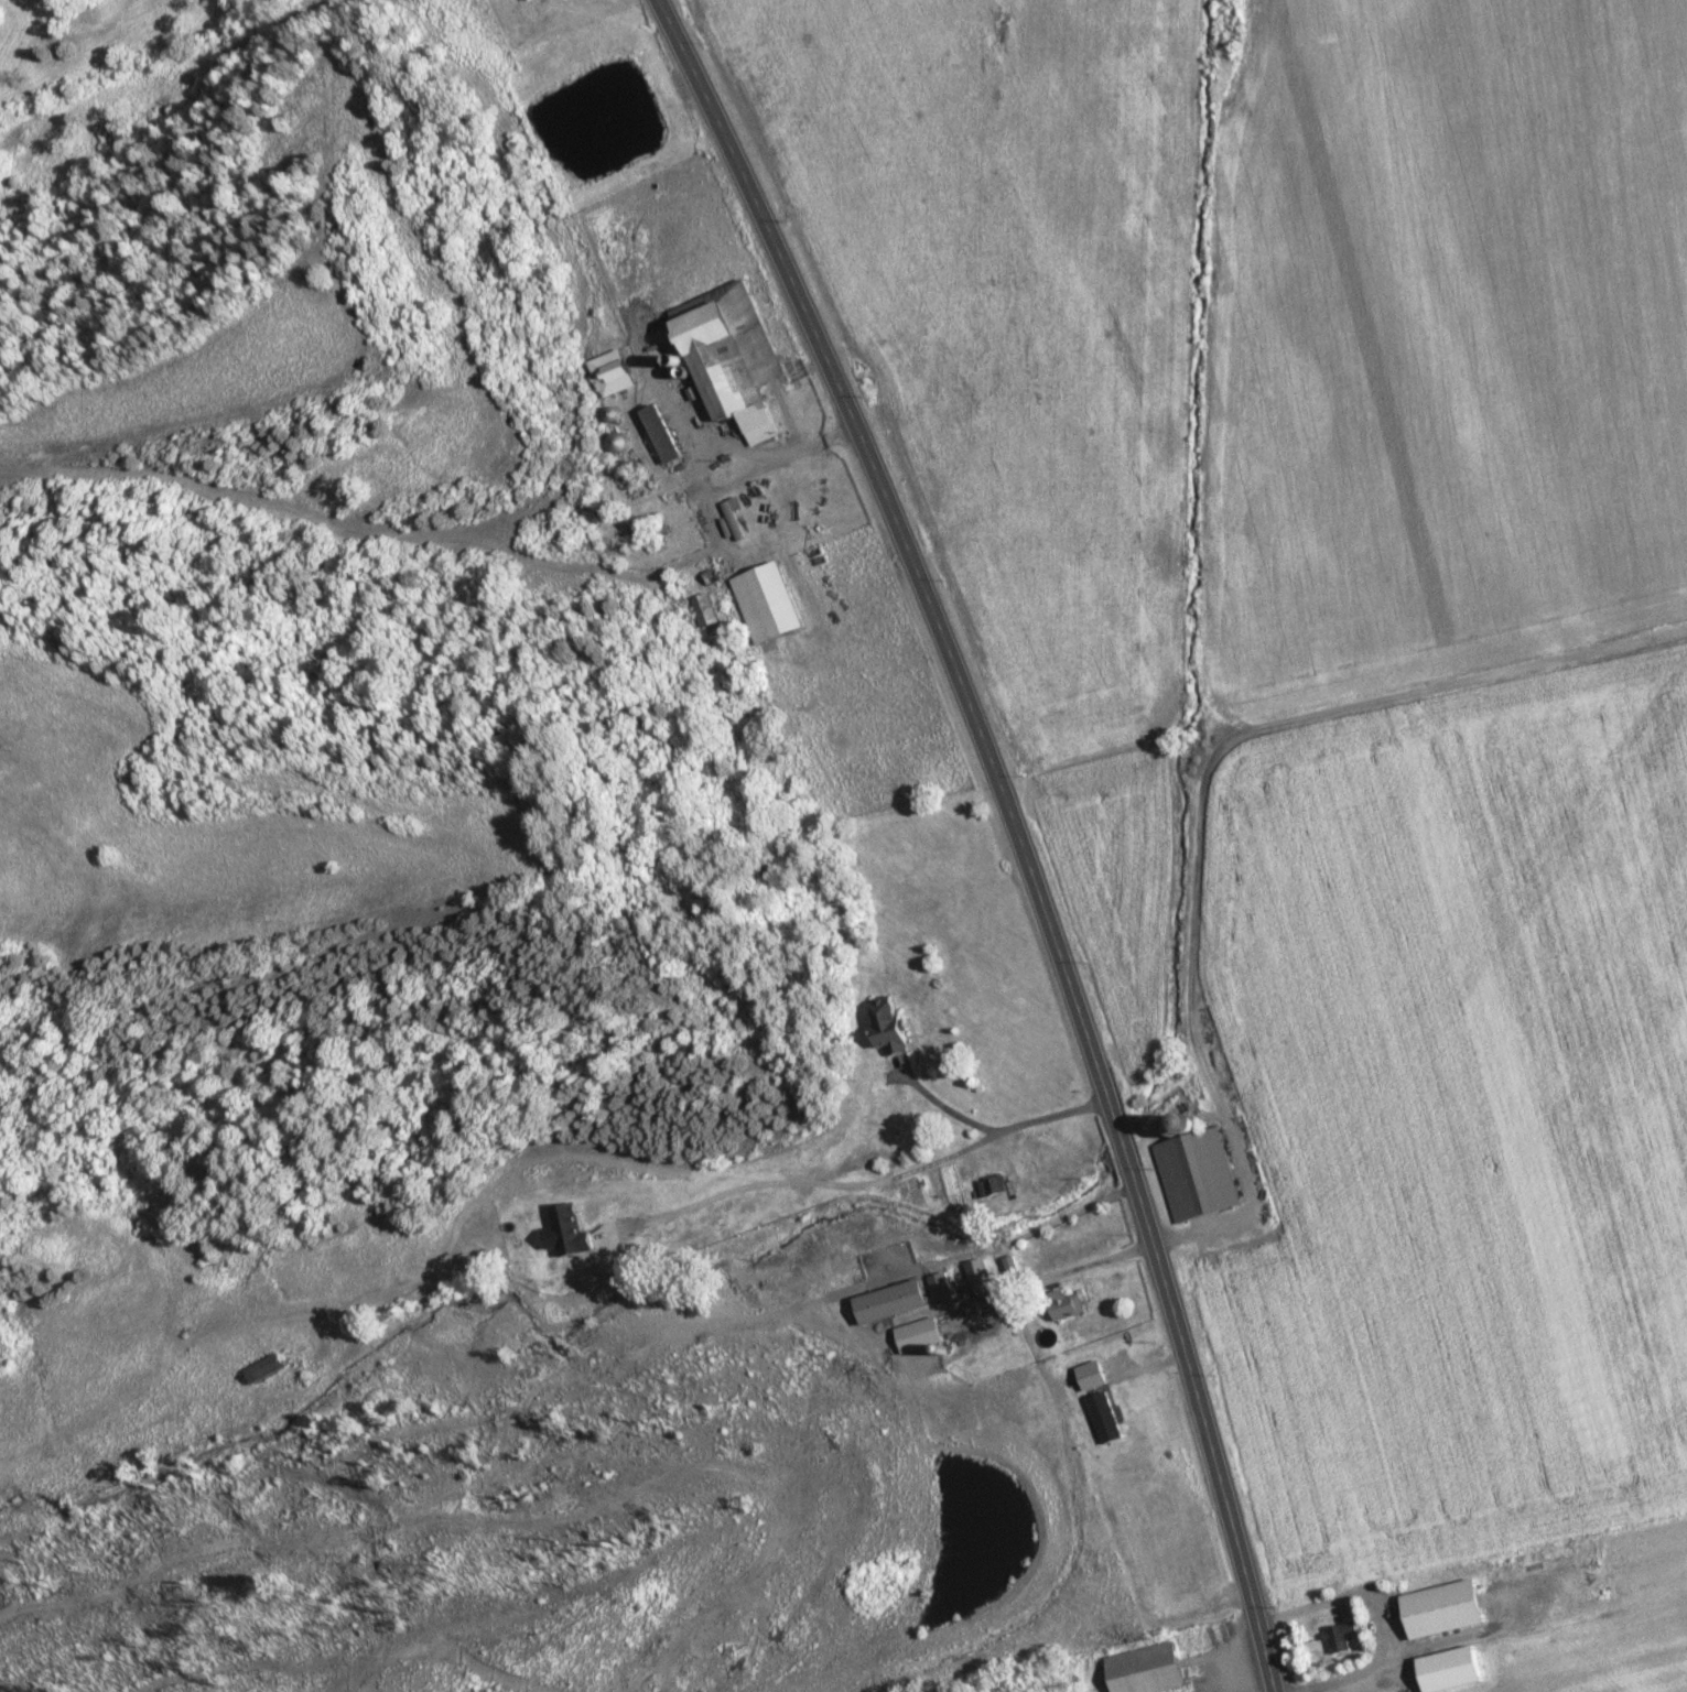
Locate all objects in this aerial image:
building: (528, 1)
building: (733, 359)
building: (614, 373)
building: (664, 436)
building: (767, 604)
building: (706, 611)
road: (1202, 793)
road: (1015, 827)
building: (890, 1024)
road: (912, 1146)
building: (1198, 1175)
building: (996, 1185)
building: (573, 1232)
building: (980, 1276)
building: (943, 1295)
building: (893, 1303)
building: (1072, 1306)
building: (929, 1332)
building: (1446, 1610)
building: (1343, 1638)
building: (1149, 1670)

